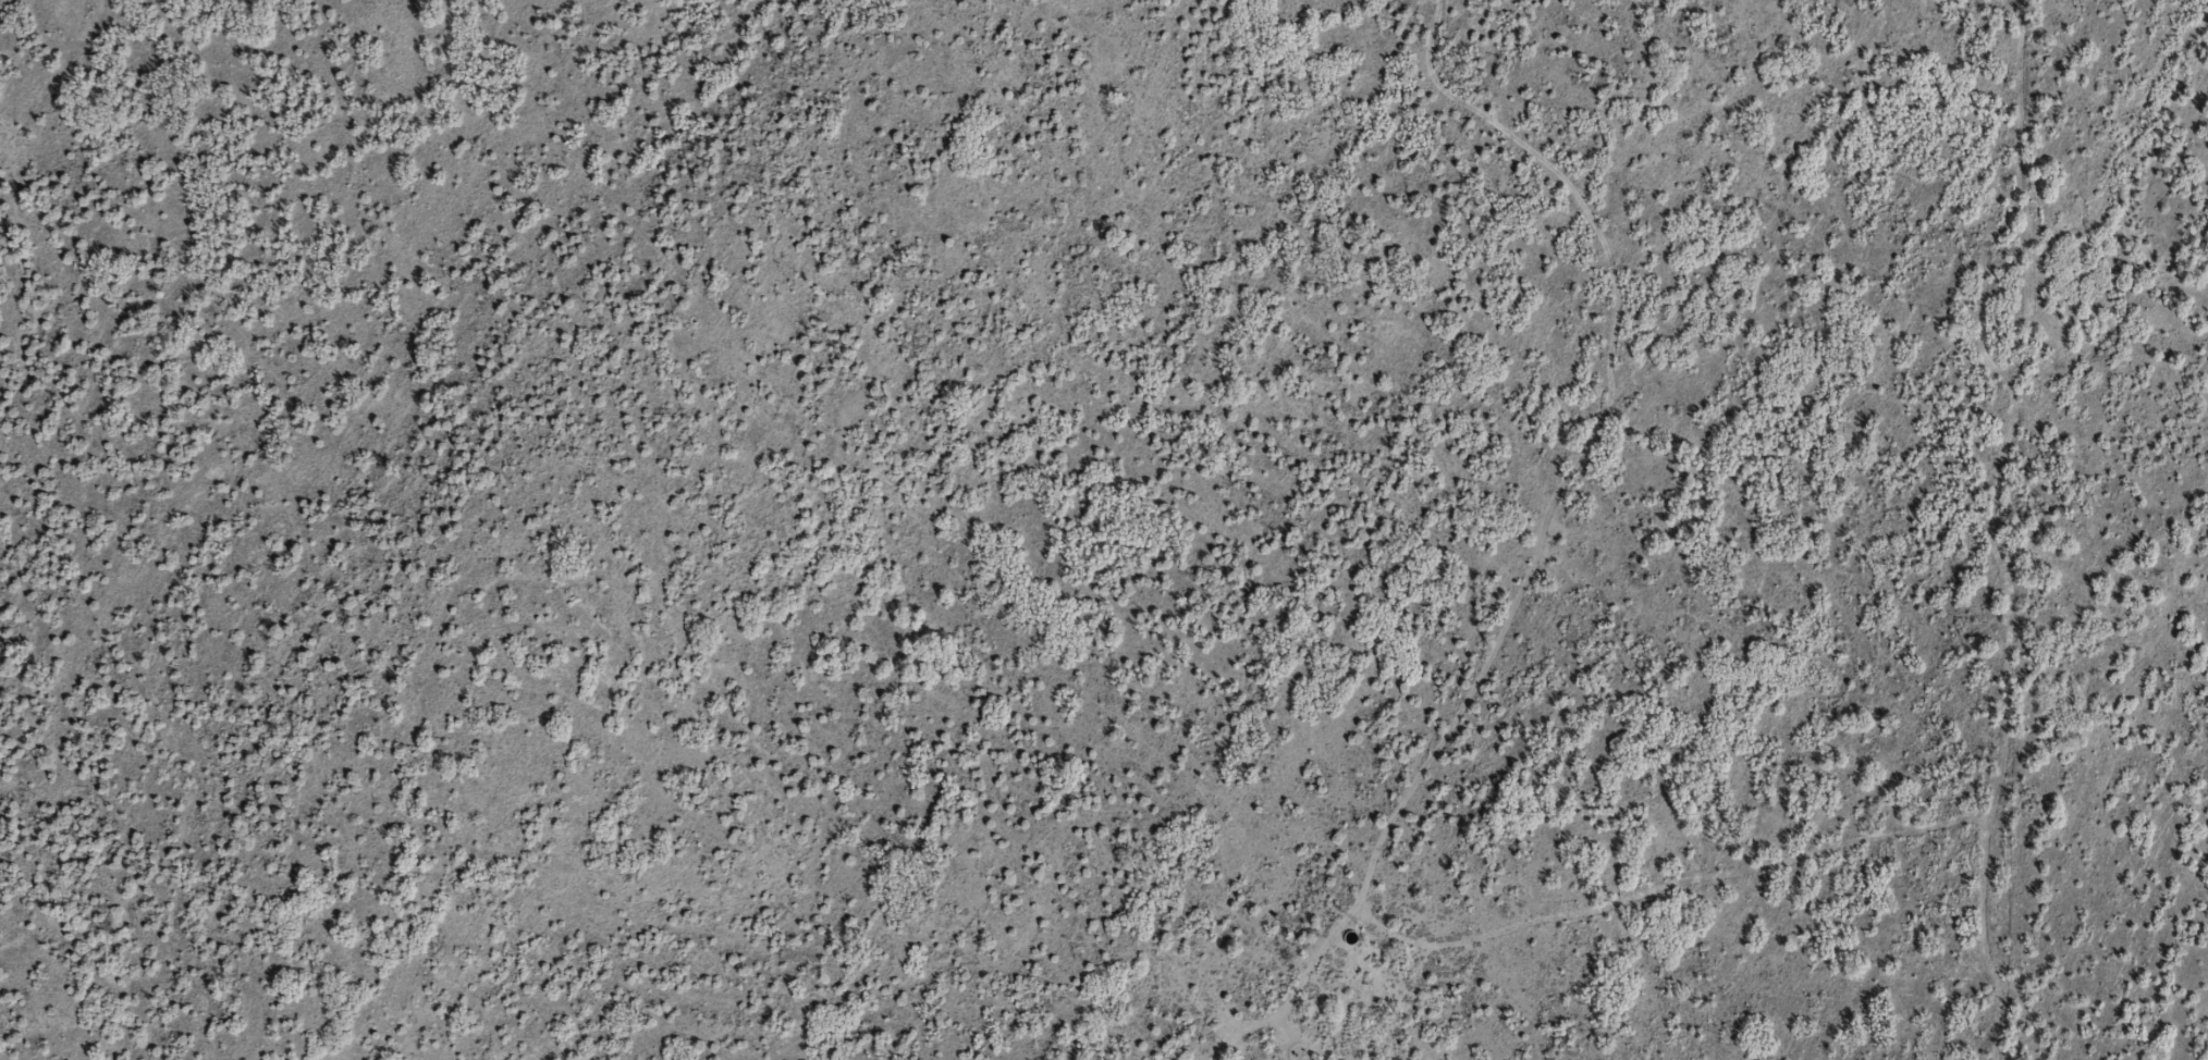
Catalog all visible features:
road: (1572, 532)

